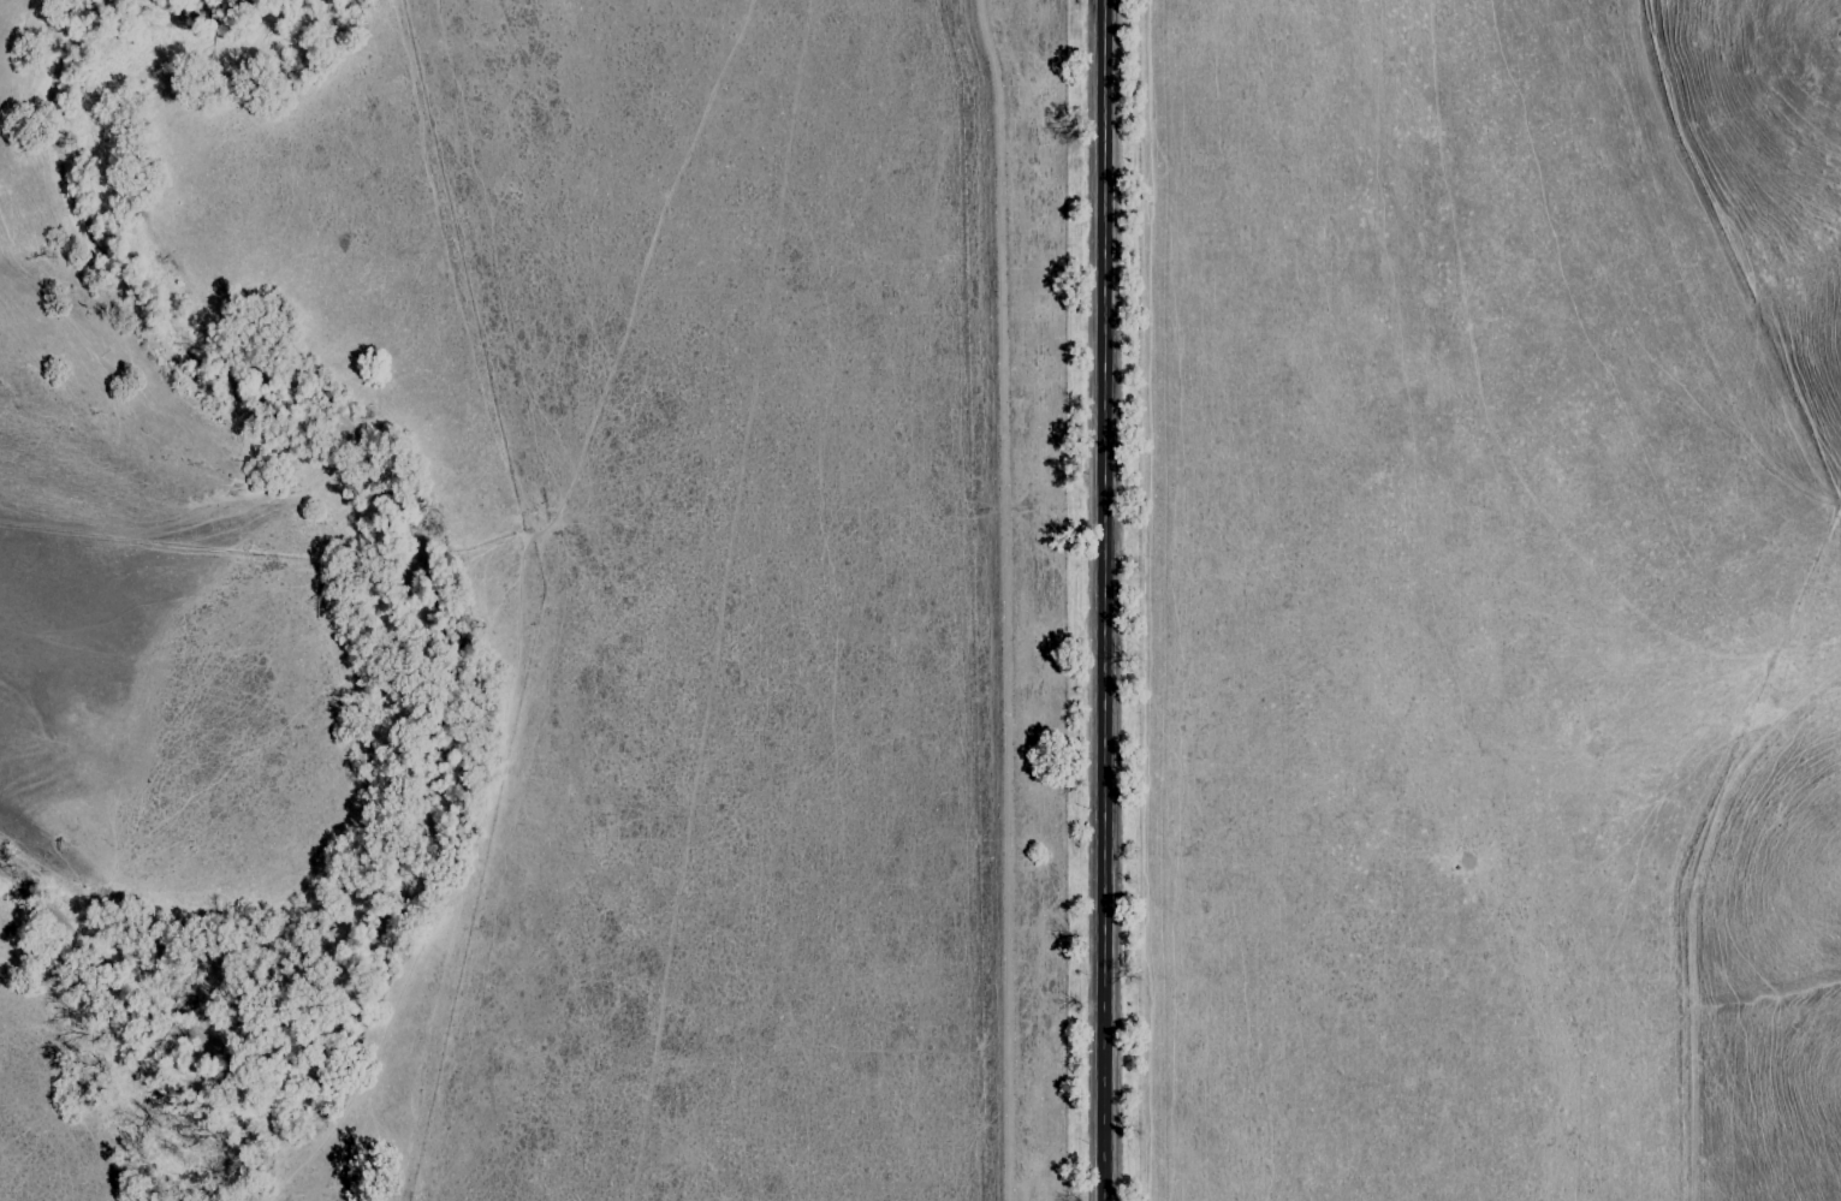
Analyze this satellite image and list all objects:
park: (1771, 185)
park: (18, 590)
road: (1105, 600)
road: (1704, 897)
park: (1783, 999)

